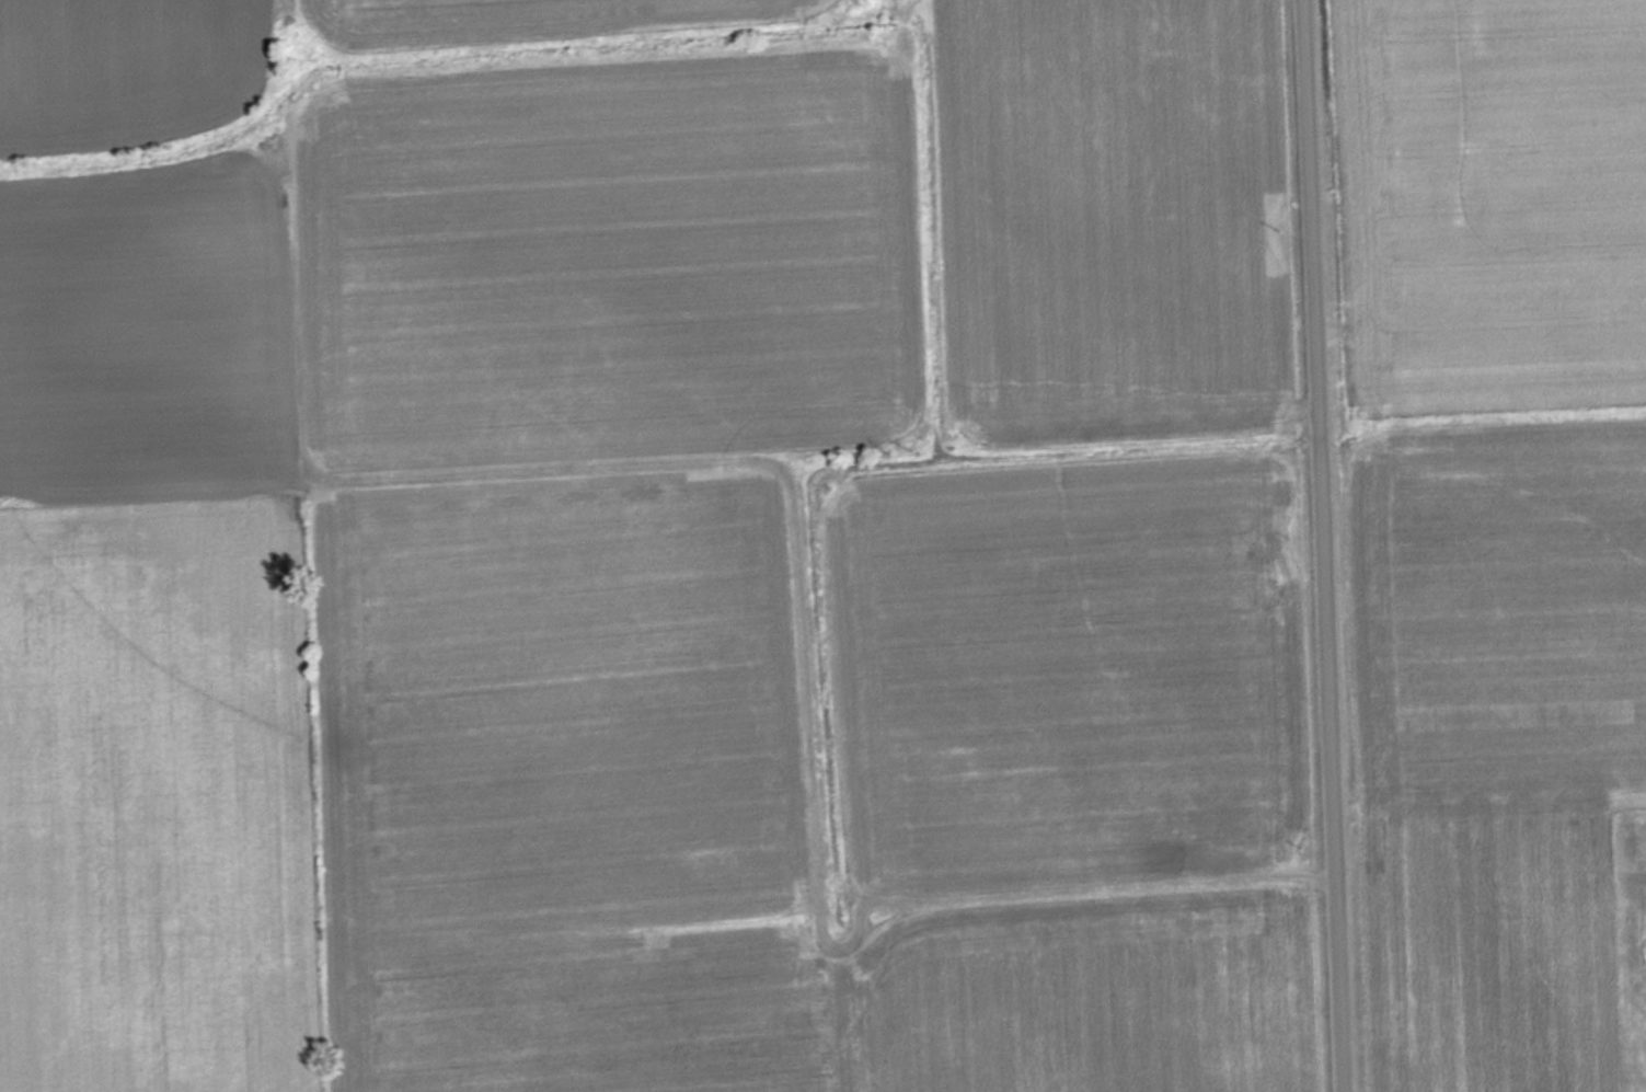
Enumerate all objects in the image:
road: (1317, 545)

